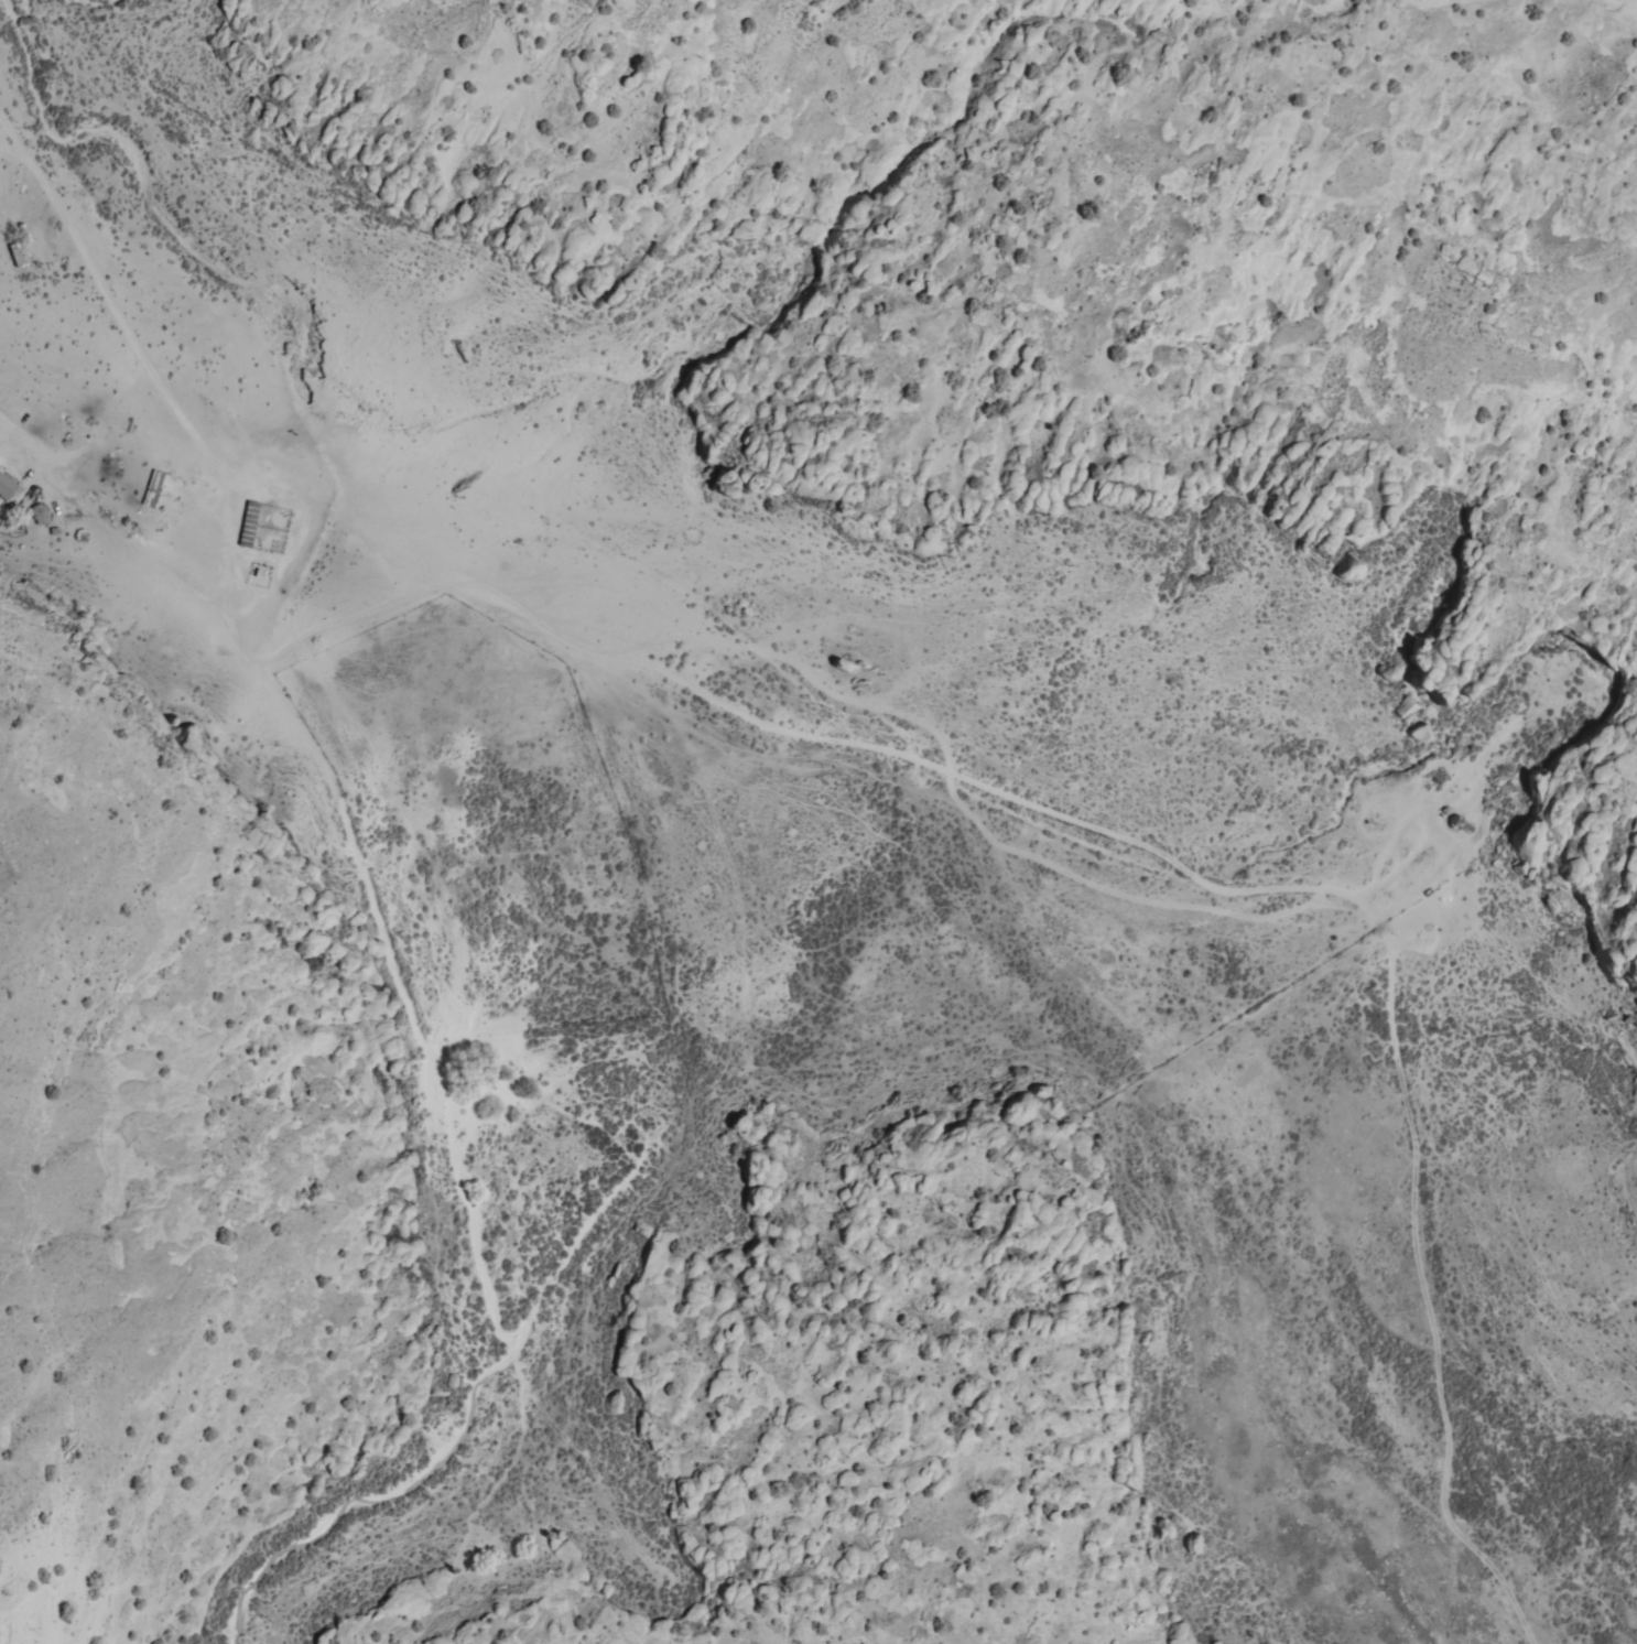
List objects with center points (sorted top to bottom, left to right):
road: (1437, 109)
building: (6, 488)
building: (153, 489)
building: (248, 523)
road: (930, 774)
river: (860, 775)
road: (715, 1115)

